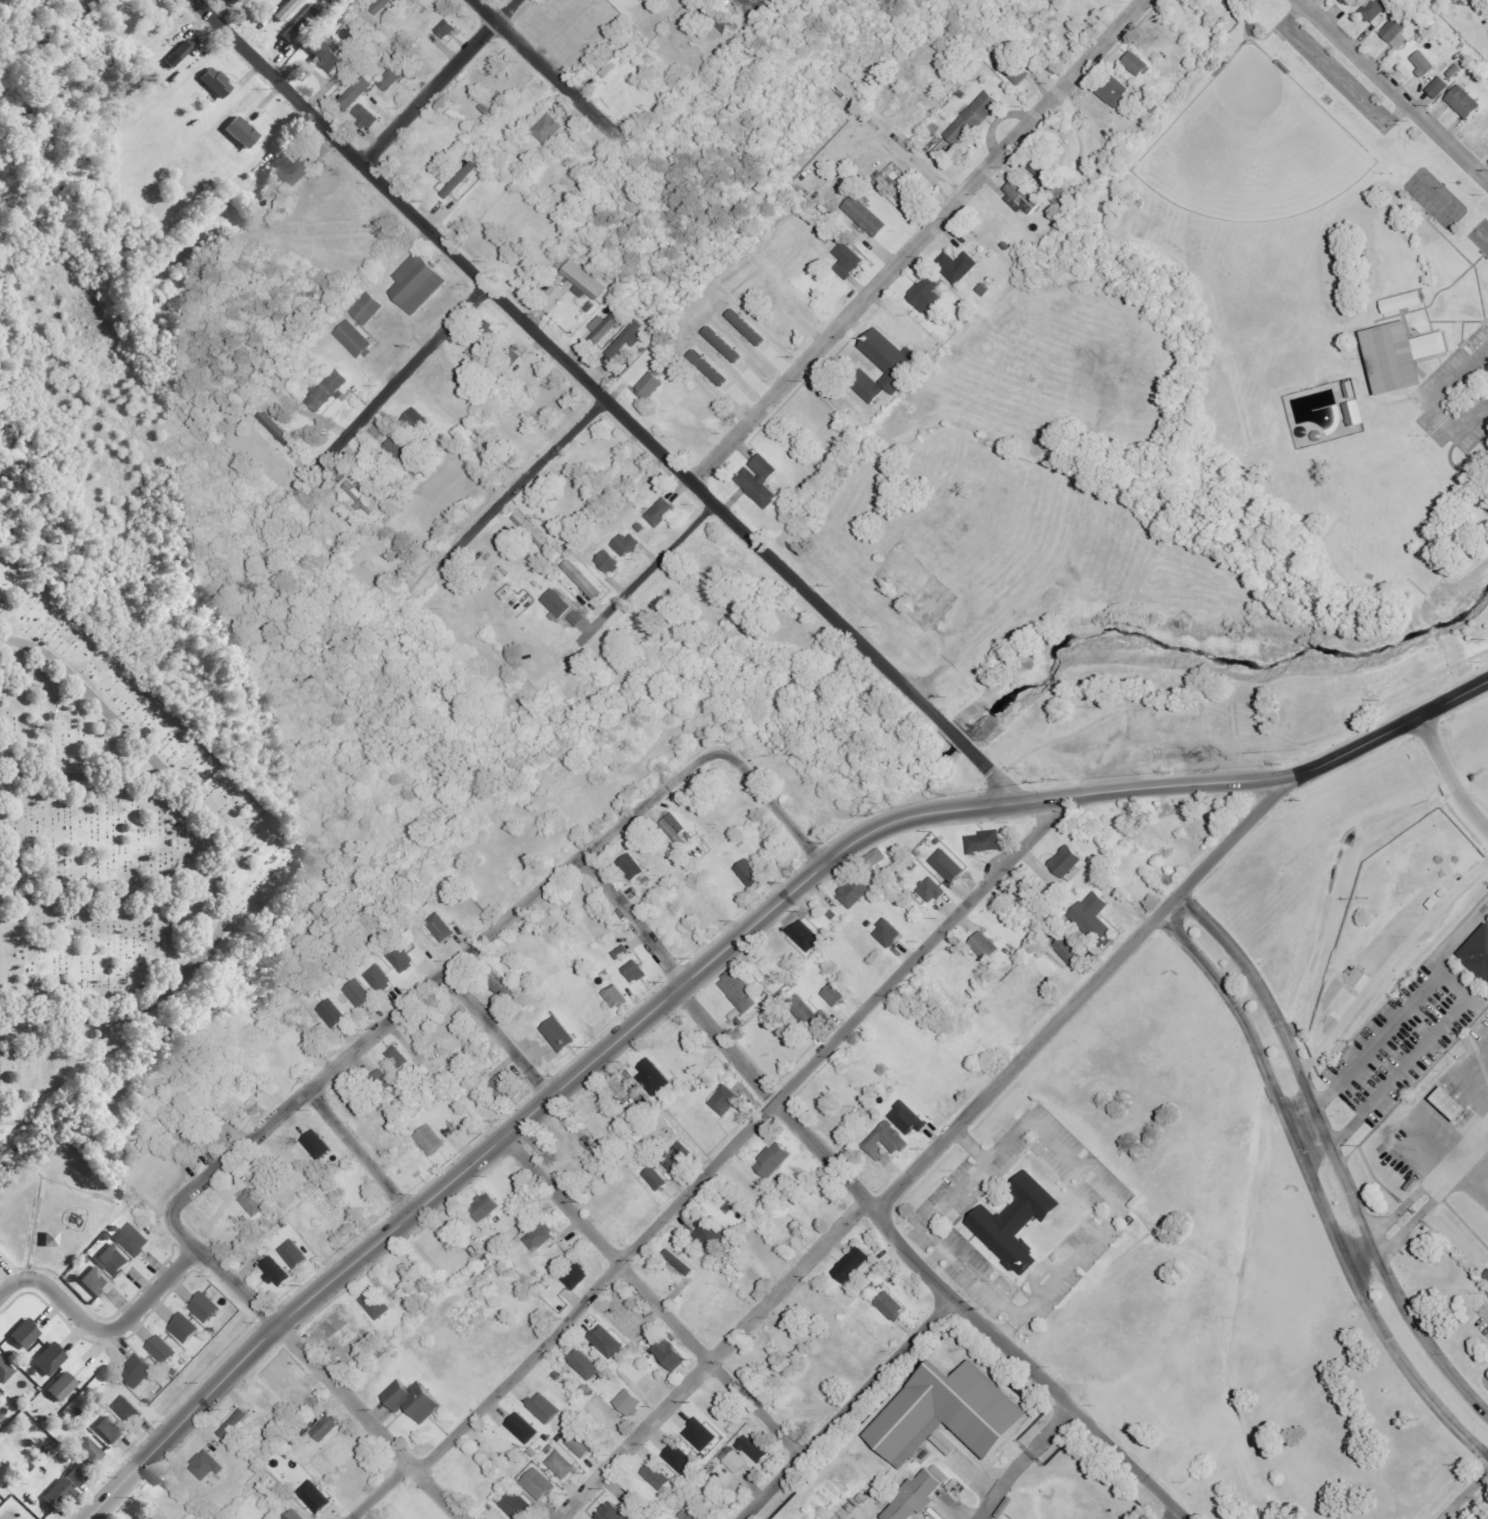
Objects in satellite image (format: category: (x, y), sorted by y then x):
building: (1348, 1)
building: (1236, 3)
building: (382, 6)
building: (288, 10)
building: (1375, 12)
building: (301, 23)
building: (725, 23)
building: (448, 28)
building: (1396, 32)
building: (325, 54)
building: (179, 55)
building: (615, 63)
building: (1424, 63)
building: (1137, 64)
road: (544, 68)
building: (1016, 70)
building: (1456, 70)
building: (392, 77)
road: (437, 81)
building: (217, 83)
building: (1439, 87)
road: (1394, 89)
building: (1115, 91)
building: (358, 92)
building: (1465, 102)
building: (367, 118)
building: (974, 118)
building: (549, 129)
building: (243, 133)
building: (292, 170)
building: (1041, 171)
building: (1024, 197)
building: (910, 199)
building: (867, 216)
road: (917, 241)
building: (848, 259)
building: (960, 265)
building: (586, 280)
building: (419, 282)
building: (927, 293)
building: (1405, 302)
building: (368, 308)
building: (605, 326)
building: (748, 327)
park: (1284, 336)
building: (356, 339)
building: (628, 339)
building: (725, 344)
building: (476, 350)
building: (1392, 355)
building: (512, 356)
building: (888, 366)
building: (710, 367)
building: (652, 384)
road: (390, 386)
building: (1352, 389)
building: (329, 390)
parking lot: (1458, 392)
road: (605, 399)
building: (1357, 413)
building: (275, 427)
park: (1199, 448)
building: (402, 450)
building: (761, 480)
road: (521, 484)
building: (362, 499)
building: (662, 512)
building: (533, 531)
building: (627, 544)
building: (610, 561)
road: (646, 575)
building: (580, 577)
building: (559, 603)
building: (577, 618)
road: (84, 691)
road: (77, 764)
road: (1449, 774)
road: (774, 805)
building: (674, 827)
building: (689, 837)
building: (984, 839)
road: (1224, 847)
park: (107, 854)
building: (872, 858)
building: (1064, 860)
building: (949, 866)
building: (630, 867)
building: (749, 874)
building: (644, 879)
building: (932, 889)
building: (1020, 890)
road: (113, 892)
building: (851, 892)
building: (1431, 902)
building: (833, 916)
building: (1093, 920)
building: (439, 925)
building: (889, 933)
building: (807, 936)
building: (984, 945)
building: (1068, 947)
building: (621, 949)
building: (1478, 950)
road: (715, 955)
building: (402, 958)
road: (1390, 964)
building: (1062, 966)
building: (634, 968)
building: (770, 969)
building: (607, 971)
road: (440, 975)
building: (379, 979)
building: (497, 981)
building: (738, 989)
building: (357, 991)
building: (616, 993)
building: (833, 994)
road: (144, 1006)
building: (331, 1011)
building: (533, 1012)
building: (803, 1012)
building: (559, 1030)
road: (498, 1034)
building: (397, 1055)
building: (655, 1078)
building: (384, 1081)
building: (616, 1082)
building: (505, 1085)
building: (723, 1097)
building: (1451, 1103)
building: (907, 1116)
road: (1309, 1132)
building: (192, 1136)
building: (428, 1138)
building: (884, 1140)
building: (317, 1144)
road: (360, 1152)
building: (676, 1154)
road: (1332, 1156)
building: (771, 1157)
road: (712, 1167)
building: (654, 1175)
road: (1318, 1188)
road: (1107, 1192)
building: (251, 1199)
building: (817, 1202)
building: (793, 1203)
road: (867, 1203)
building: (483, 1204)
road: (858, 1211)
building: (1015, 1220)
road: (929, 1231)
building: (709, 1233)
building: (538, 1234)
building: (233, 1237)
building: (52, 1239)
building: (135, 1239)
building: (261, 1249)
road: (1360, 1252)
building: (295, 1254)
building: (116, 1260)
building: (851, 1261)
building: (681, 1262)
building: (274, 1268)
building: (575, 1273)
building: (753, 1274)
building: (1487, 1274)
building: (97, 1282)
road: (649, 1298)
building: (374, 1301)
building: (889, 1305)
road: (1486, 1306)
building: (207, 1307)
building: (186, 1328)
road: (102, 1330)
building: (26, 1334)
building: (608, 1341)
building: (163, 1349)
building: (669, 1351)
building: (50, 1359)
building: (583, 1361)
road: (316, 1364)
building: (274, 1366)
building: (140, 1370)
building: (5, 1371)
building: (63, 1387)
building: (586, 1387)
building: (411, 1397)
building: (628, 1399)
building: (542, 1405)
road: (846, 1408)
building: (129, 1410)
building: (949, 1413)
building: (613, 1421)
building: (238, 1423)
building: (326, 1428)
building: (524, 1428)
building: (111, 1430)
road: (1052, 1430)
building: (701, 1435)
building: (558, 1437)
building: (578, 1442)
building: (753, 1445)
building: (548, 1447)
building: (89, 1451)
building: (679, 1458)
building: (559, 1462)
building: (737, 1462)
building: (207, 1466)
building: (655, 1474)
building: (77, 1478)
building: (536, 1481)
road: (1002, 1483)
building: (60, 1494)
building: (912, 1495)
road: (1464, 1495)
building: (497, 1496)
building: (316, 1497)
building: (515, 1503)
building: (611, 1511)
building: (692, 1513)
road: (1171, 1513)
building: (294, 1515)
building: (1484, 1516)

